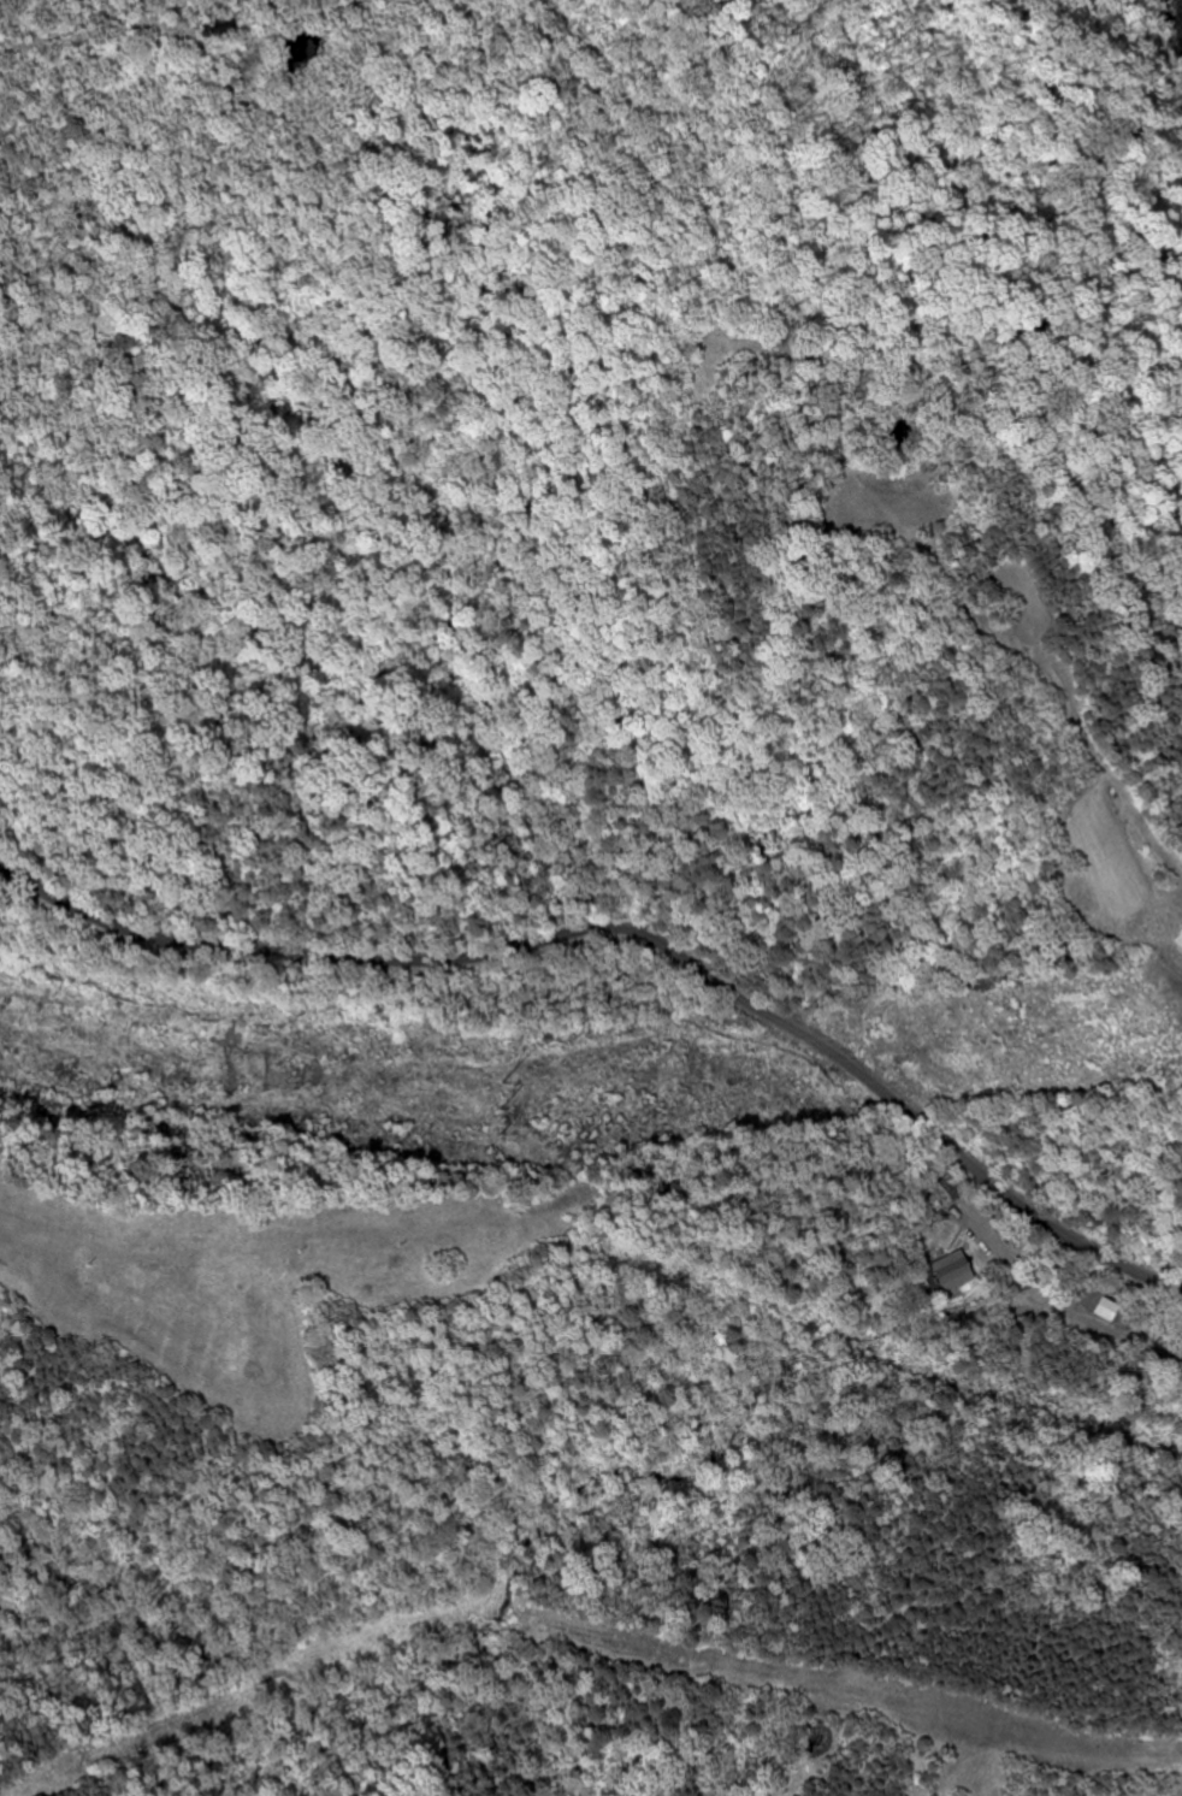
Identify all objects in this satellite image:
road: (636, 931)
power tower: (515, 1103)
building: (958, 1270)

